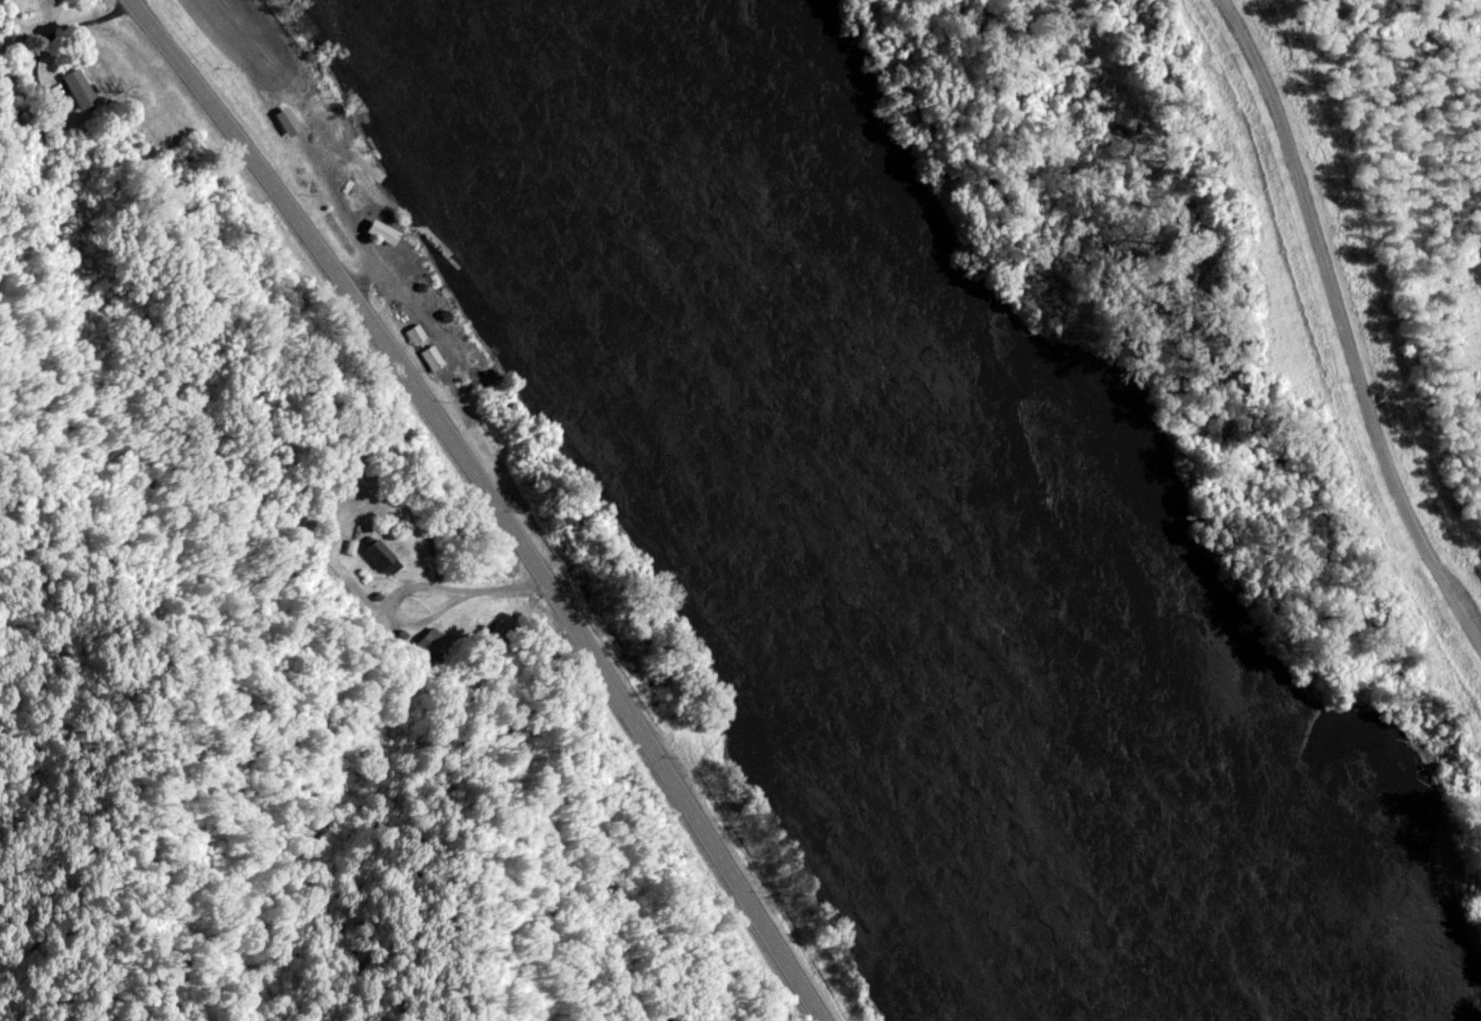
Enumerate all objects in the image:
building: (72, 86)
building: (374, 229)
road: (1341, 330)
building: (410, 331)
building: (427, 355)
road: (494, 498)
river: (875, 526)
building: (376, 554)
building: (411, 608)
building: (429, 637)

